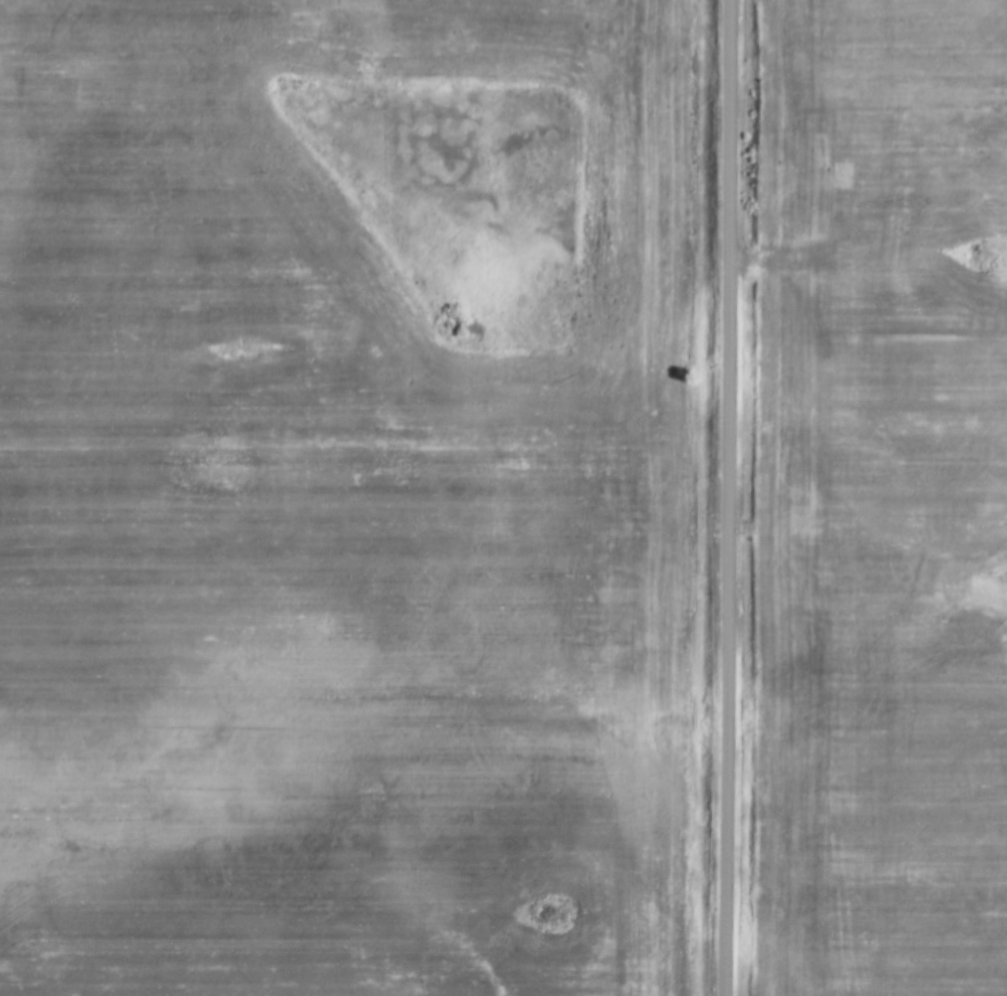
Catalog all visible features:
road: (728, 498)

